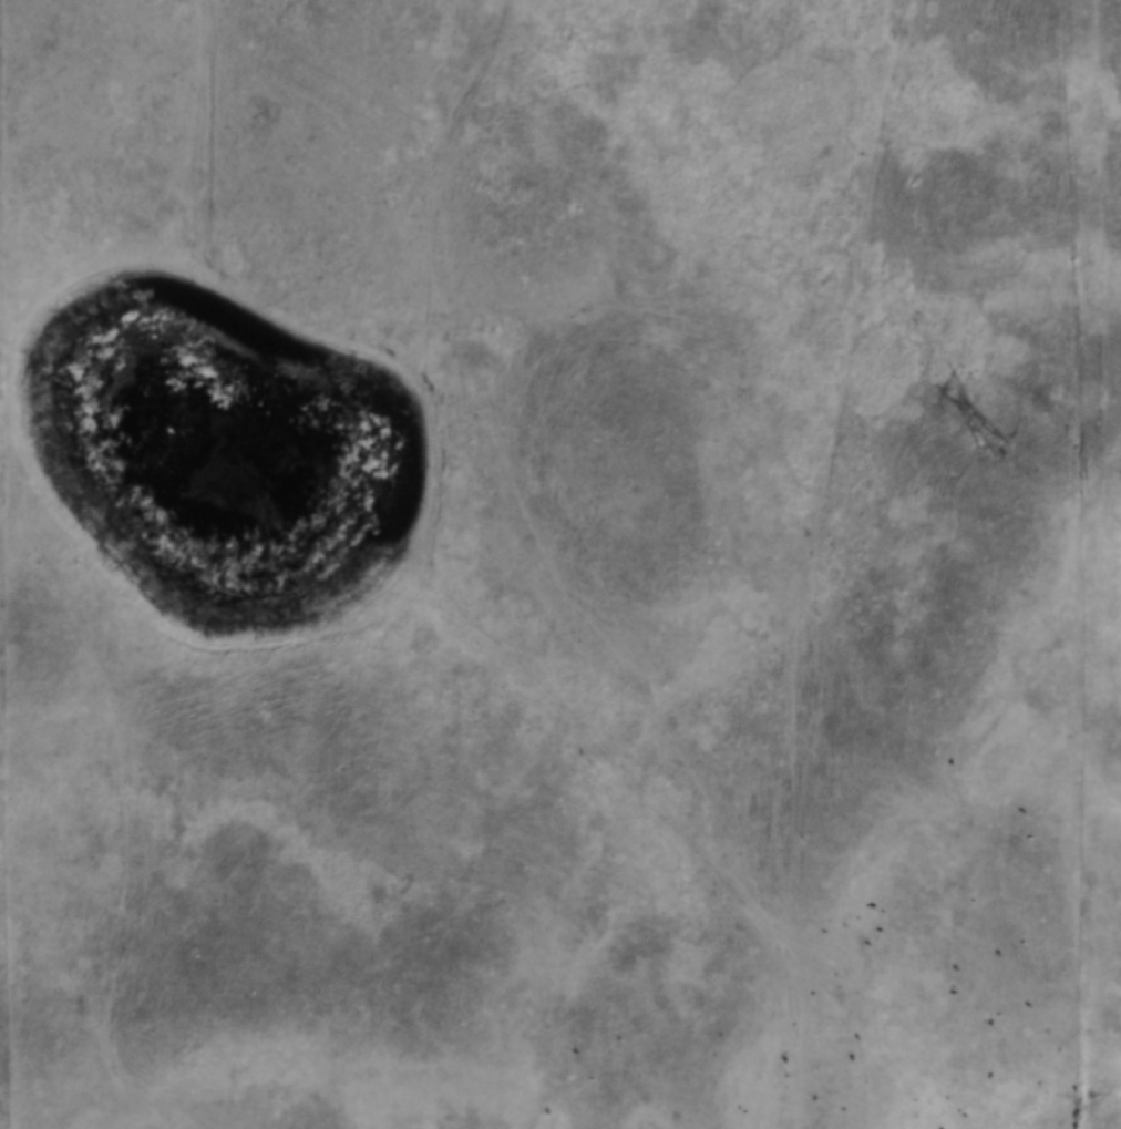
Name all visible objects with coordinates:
power tower: (986, 444)

